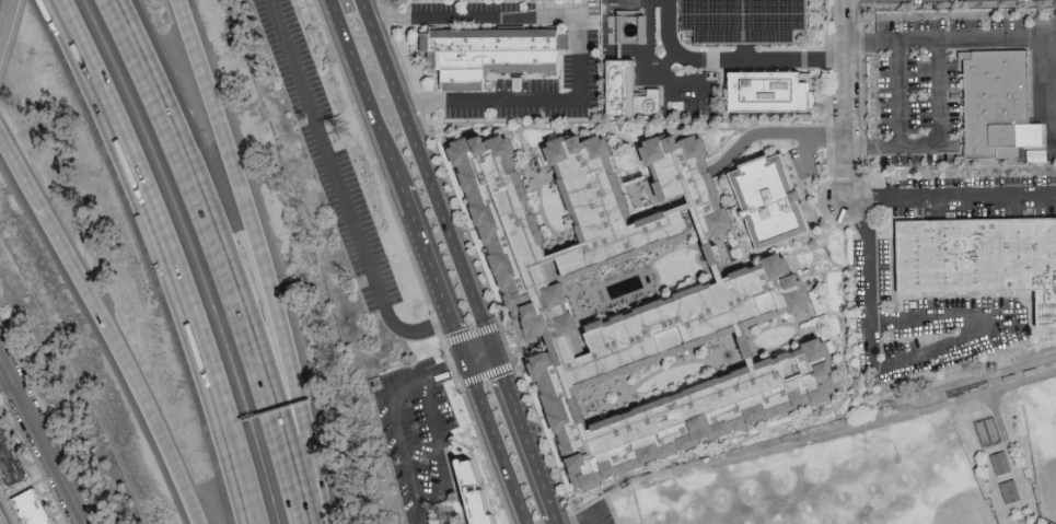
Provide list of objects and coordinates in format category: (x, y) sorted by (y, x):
building: (744, 21)
road: (5, 23)
road: (950, 37)
road: (578, 40)
building: (491, 59)
road: (731, 61)
building: (608, 69)
road: (666, 82)
road: (1051, 89)
building: (769, 92)
road: (897, 92)
road: (361, 94)
building: (629, 94)
road: (698, 98)
road: (845, 102)
building: (996, 107)
building: (605, 108)
power tower: (348, 135)
road: (793, 135)
road: (938, 138)
road: (810, 152)
road: (423, 176)
road: (341, 187)
road: (951, 197)
building: (768, 202)
road: (176, 255)
road: (220, 257)
road: (263, 258)
road: (65, 261)
building: (980, 264)
road: (428, 276)
building: (676, 313)
traffic signals: (490, 353)
road: (915, 354)
traffic signals: (462, 363)
road: (450, 368)
road: (4, 379)
parking lot: (418, 435)
road: (522, 435)
road: (39, 441)
road: (492, 443)
park: (1042, 443)
road: (438, 452)
building: (12, 454)
road: (156, 455)
road: (406, 458)
park: (872, 464)
park: (916, 477)
building: (474, 493)
building: (38, 506)
park: (726, 508)
road: (2, 517)
building: (3, 517)
road: (587, 517)
parking lot: (607, 519)
power tower: (451, 521)
road: (555, 521)

